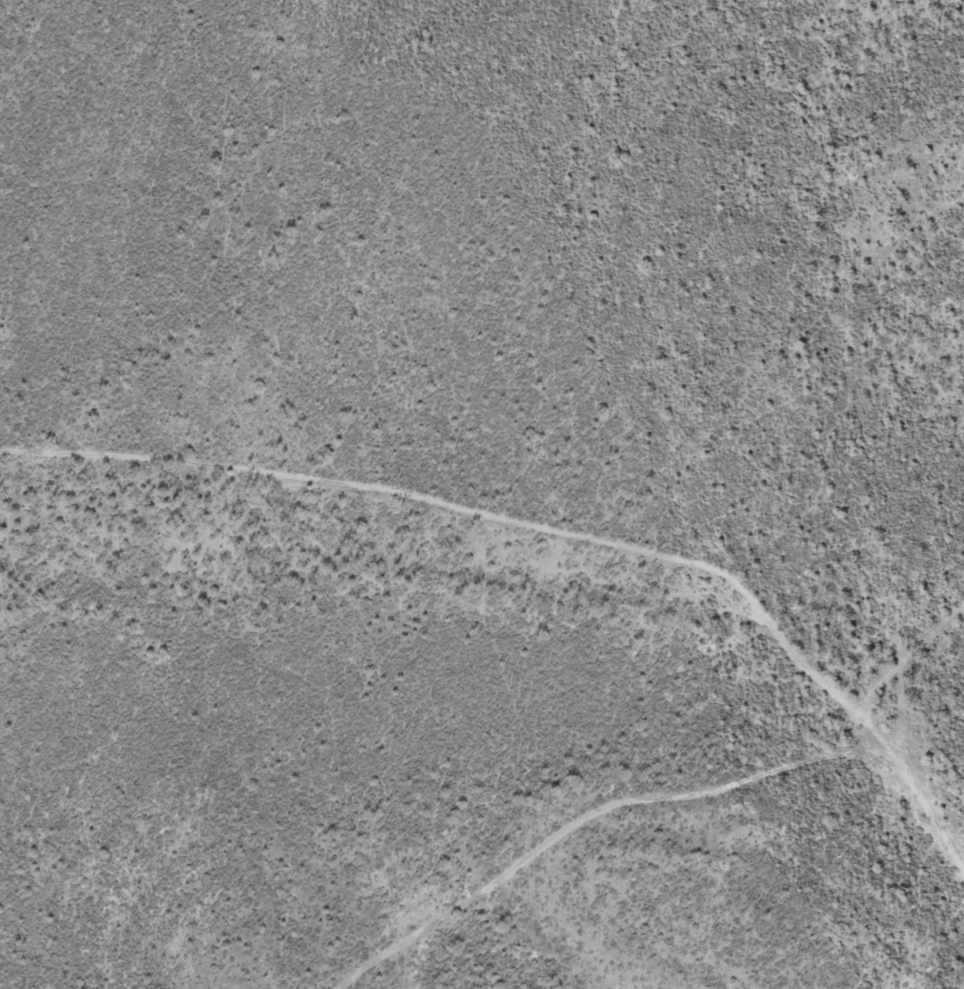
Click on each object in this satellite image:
road: (483, 515)
road: (906, 683)
road: (656, 798)

